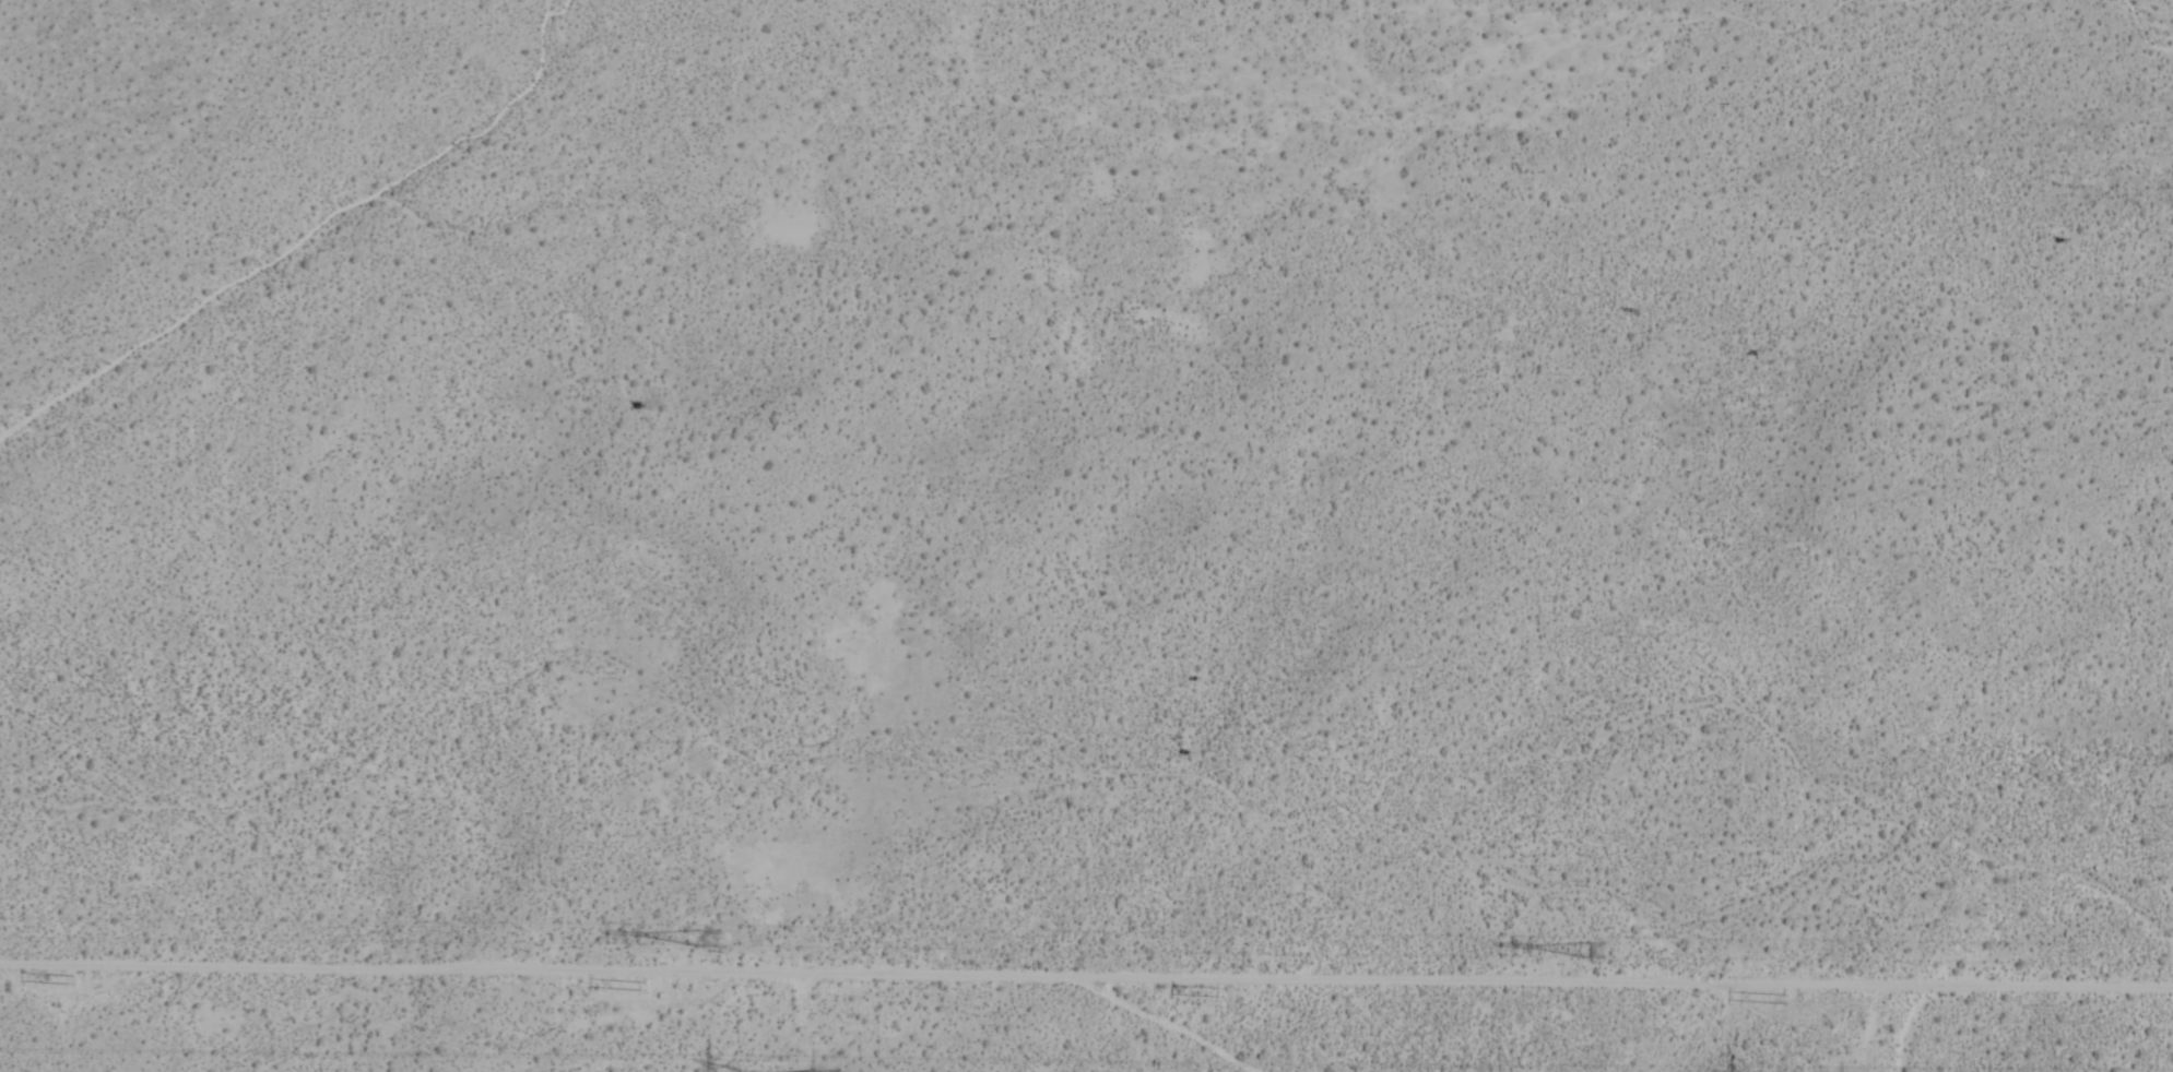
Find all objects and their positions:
power tower: (710, 942)
power tower: (1587, 946)
road: (542, 969)
power tower: (102, 980)
power tower: (674, 985)
power tower: (1235, 994)
power tower: (1788, 1001)

